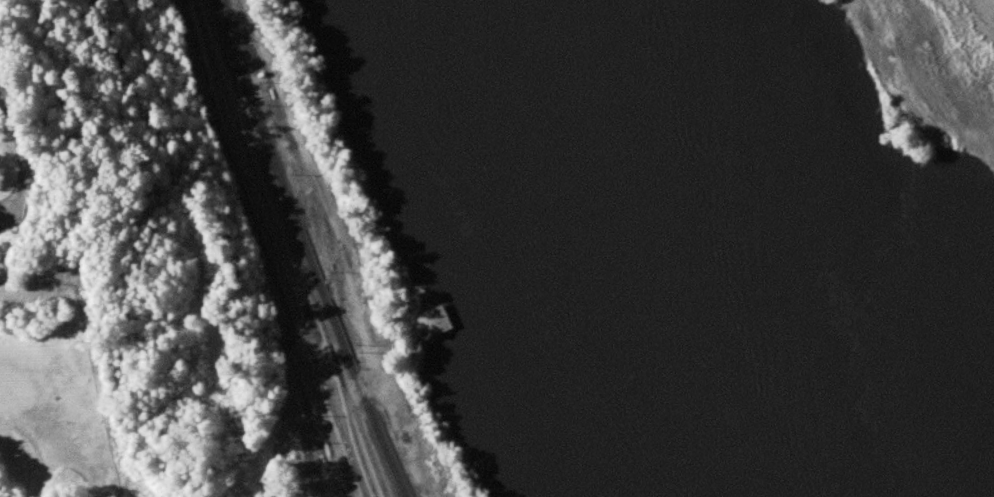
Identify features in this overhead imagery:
road: (109, 41)
railway: (234, 49)
railway: (221, 52)
road: (73, 81)
road: (16, 139)
road: (103, 189)
park: (155, 241)
river: (711, 248)
railway: (305, 250)
railway: (299, 298)
railway: (312, 300)
building: (433, 324)
railway: (351, 425)

